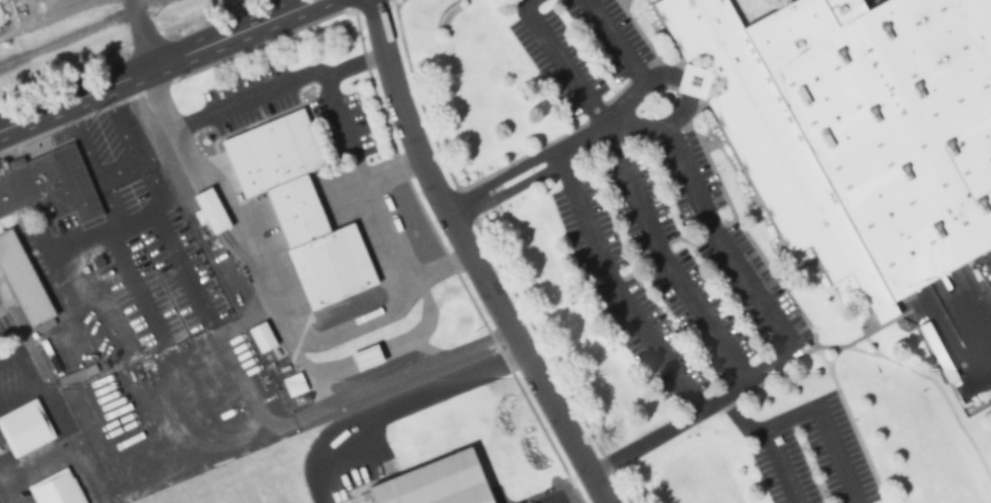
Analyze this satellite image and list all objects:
railway: (76, 32)
road: (144, 32)
road: (613, 40)
road: (159, 64)
road: (684, 85)
road: (249, 102)
building: (853, 129)
road: (355, 157)
road: (116, 169)
building: (49, 185)
road: (630, 188)
building: (298, 206)
building: (210, 210)
road: (138, 215)
road: (57, 252)
road: (472, 258)
road: (183, 264)
building: (22, 281)
road: (135, 285)
road: (608, 287)
road: (968, 316)
building: (262, 337)
road: (783, 338)
road: (8, 356)
building: (364, 358)
road: (27, 375)
building: (294, 385)
road: (739, 415)
building: (23, 427)
road: (825, 429)
road: (778, 464)
building: (435, 481)
building: (55, 488)
road: (559, 499)
building: (519, 502)

